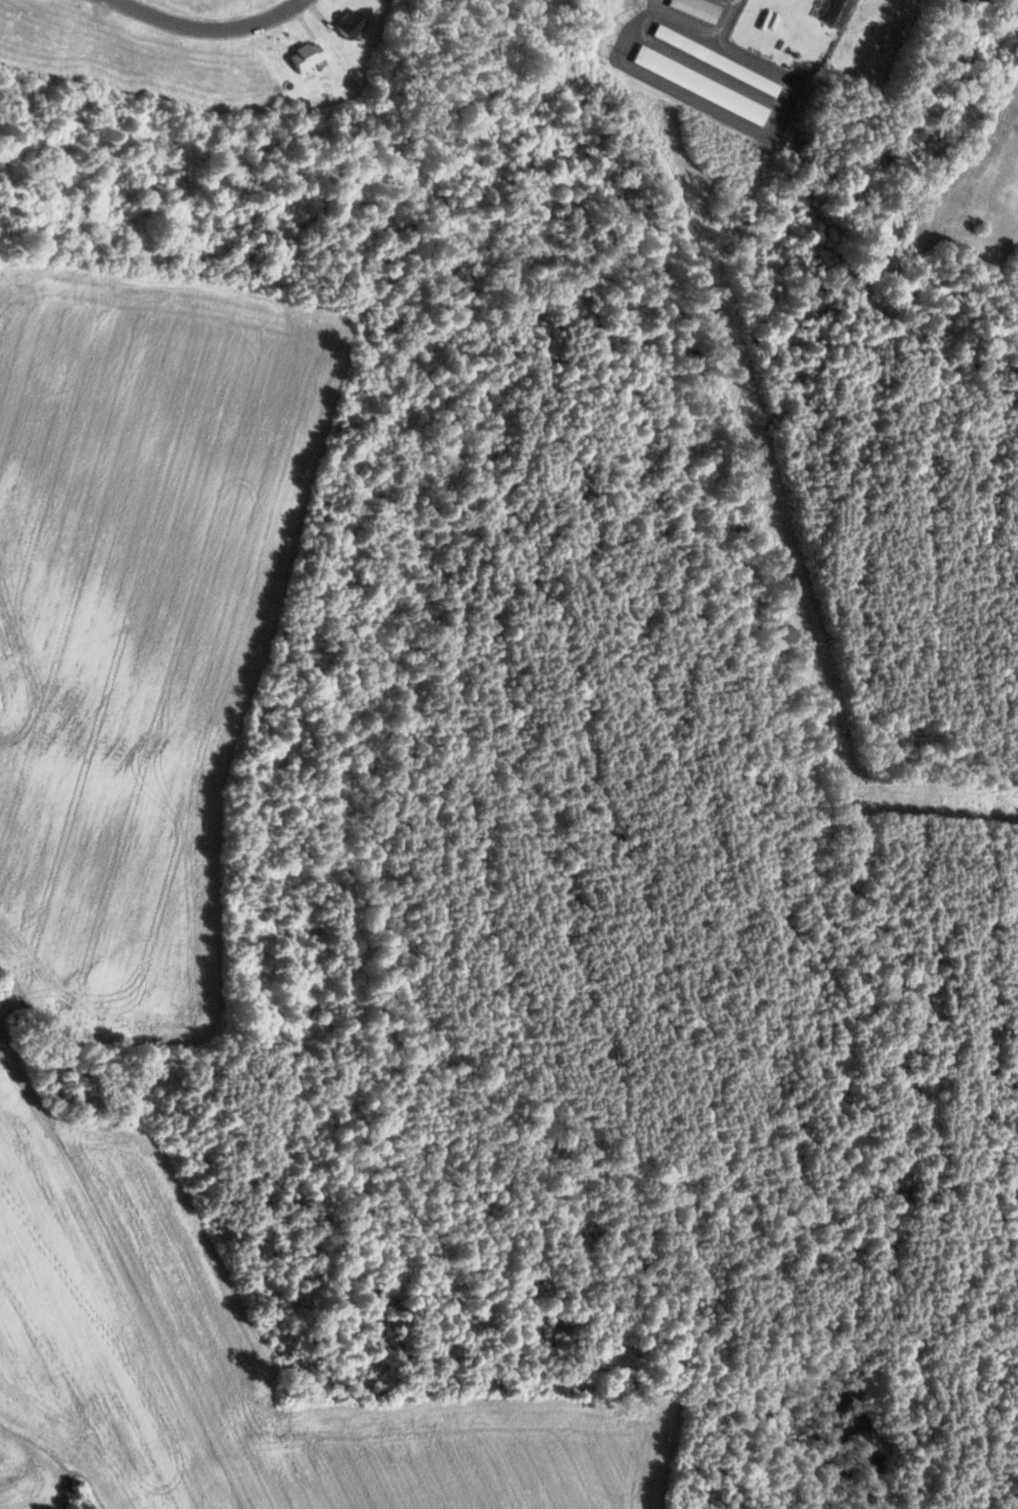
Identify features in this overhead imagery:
building: (699, 9)
building: (353, 23)
road: (206, 27)
building: (308, 55)
road: (110, 1259)

